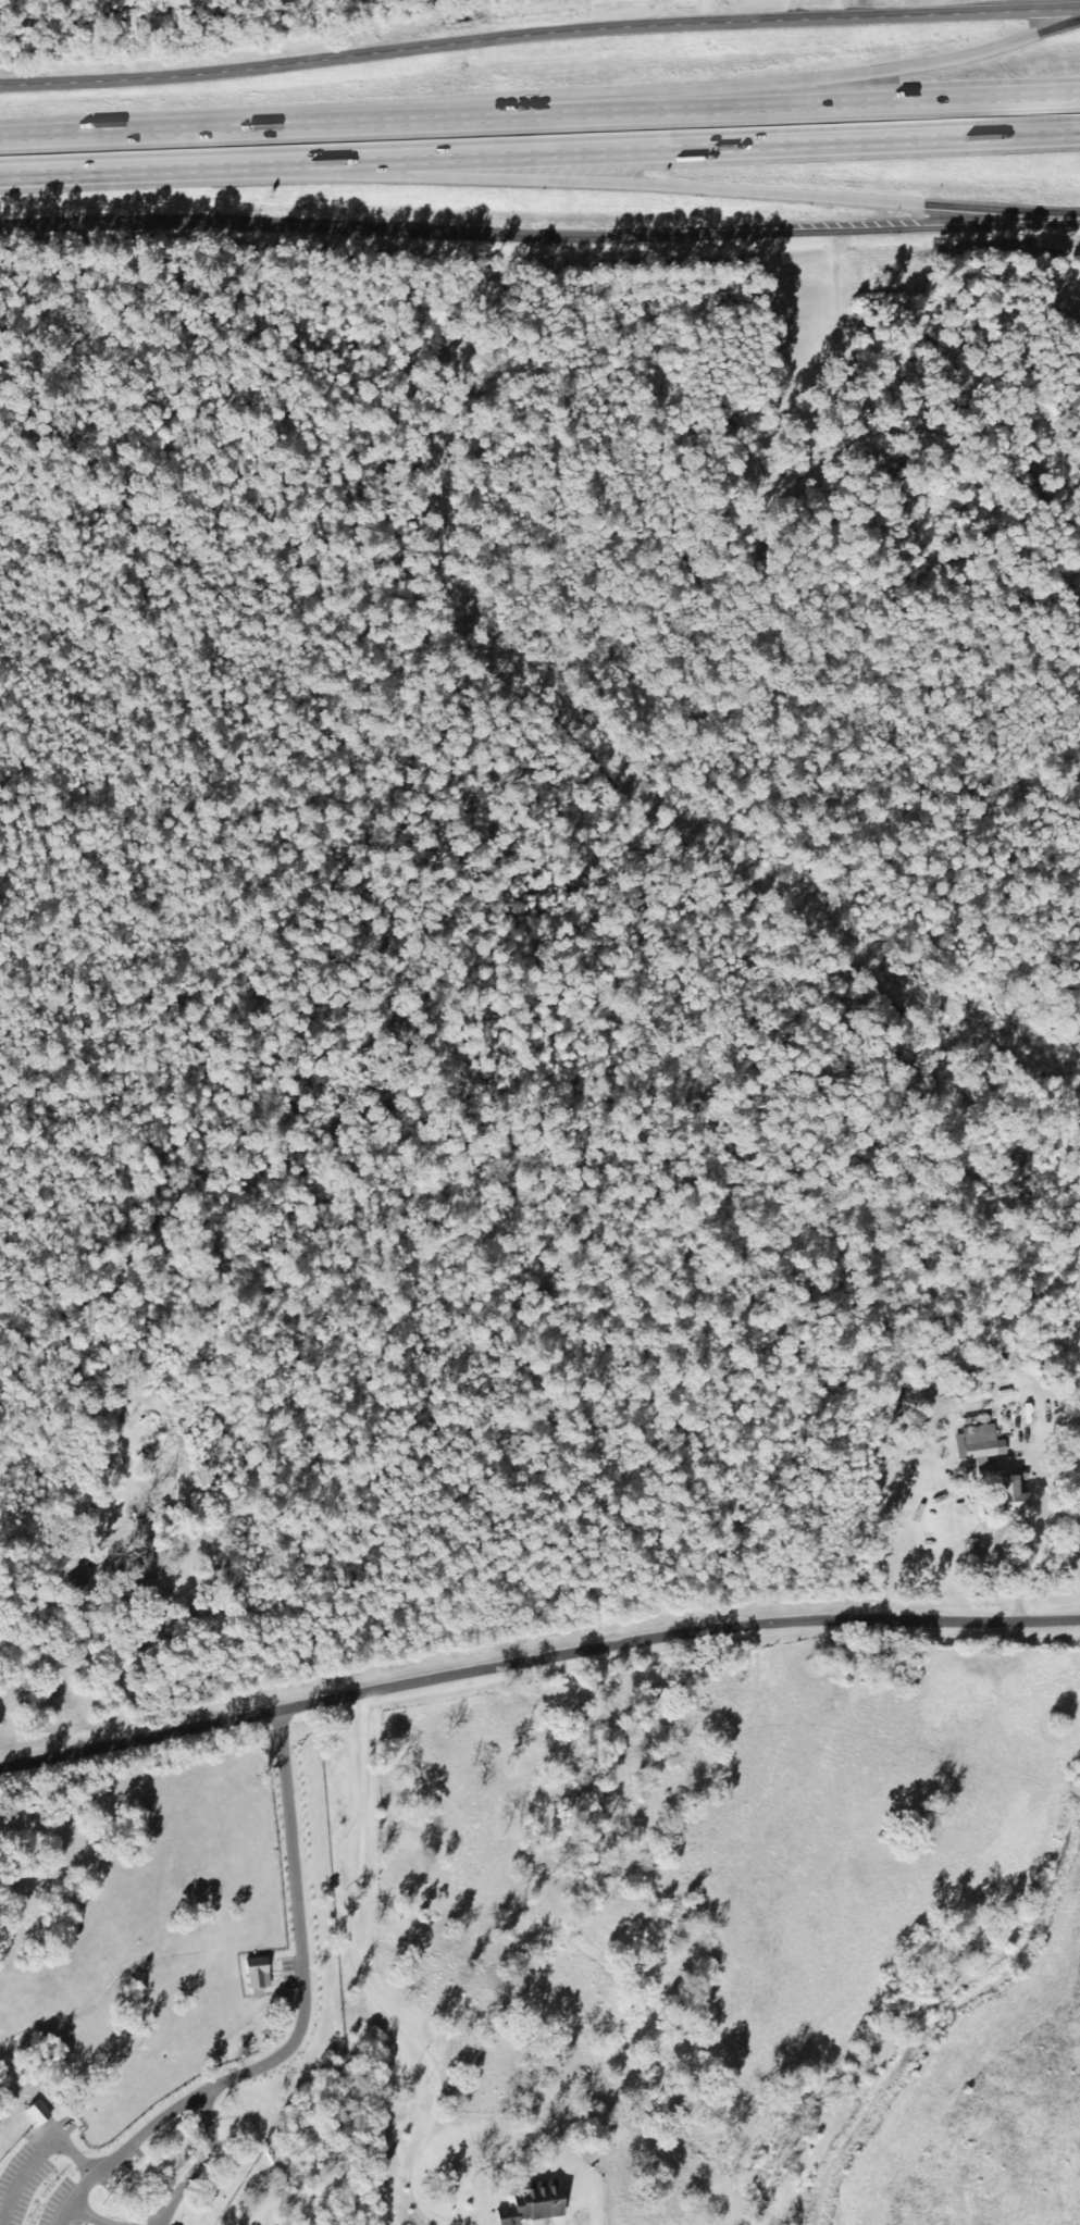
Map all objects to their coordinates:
road: (538, 33)
road: (721, 87)
road: (718, 108)
road: (178, 128)
road: (539, 150)
road: (676, 183)
road: (539, 233)
park: (805, 438)
building: (977, 1441)
building: (1009, 1493)
road: (998, 1528)
road: (126, 1603)
road: (536, 1657)
park: (872, 1658)
road: (296, 1929)
building: (256, 1972)
road: (362, 1978)
building: (35, 2112)
road: (36, 2154)
road: (115, 2158)
road: (196, 2165)
building: (532, 2203)
road: (66, 2212)

